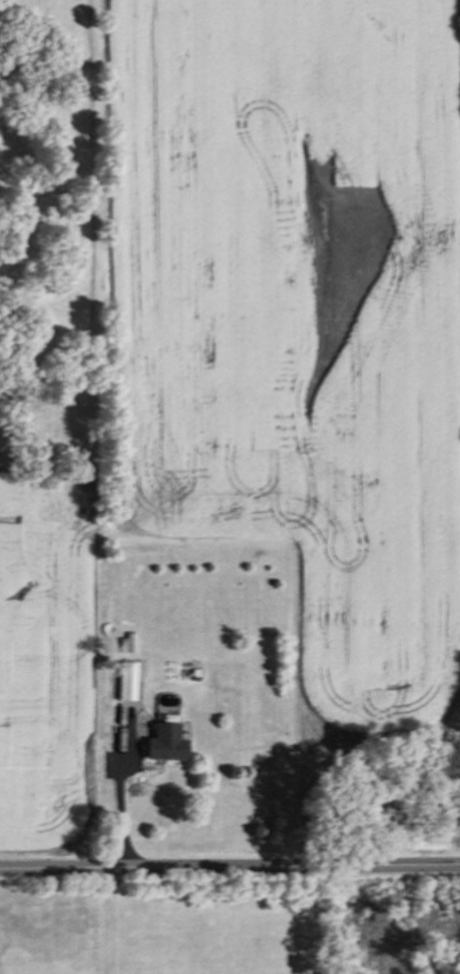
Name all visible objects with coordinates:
building: (126, 676)
building: (165, 738)
road: (230, 866)
road: (105, 920)

